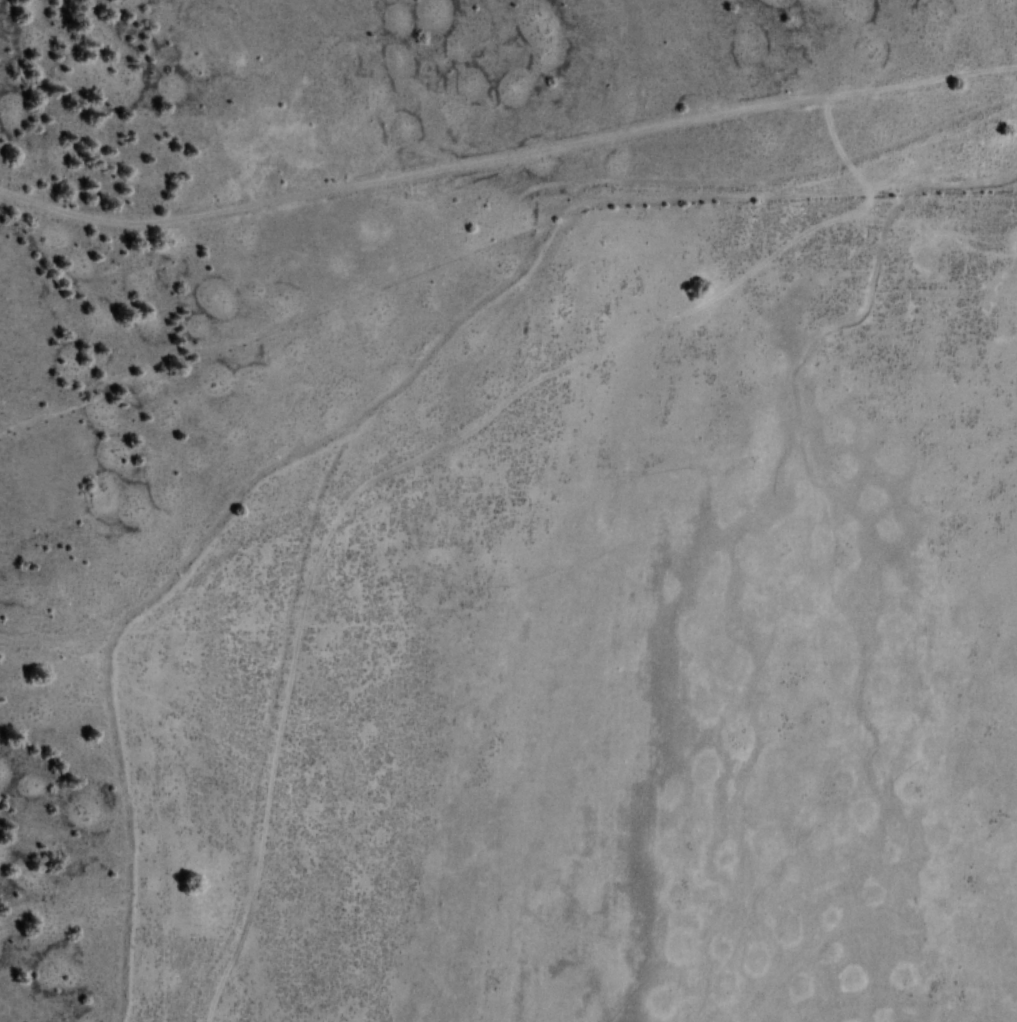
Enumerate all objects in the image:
road: (506, 162)
road: (484, 431)

